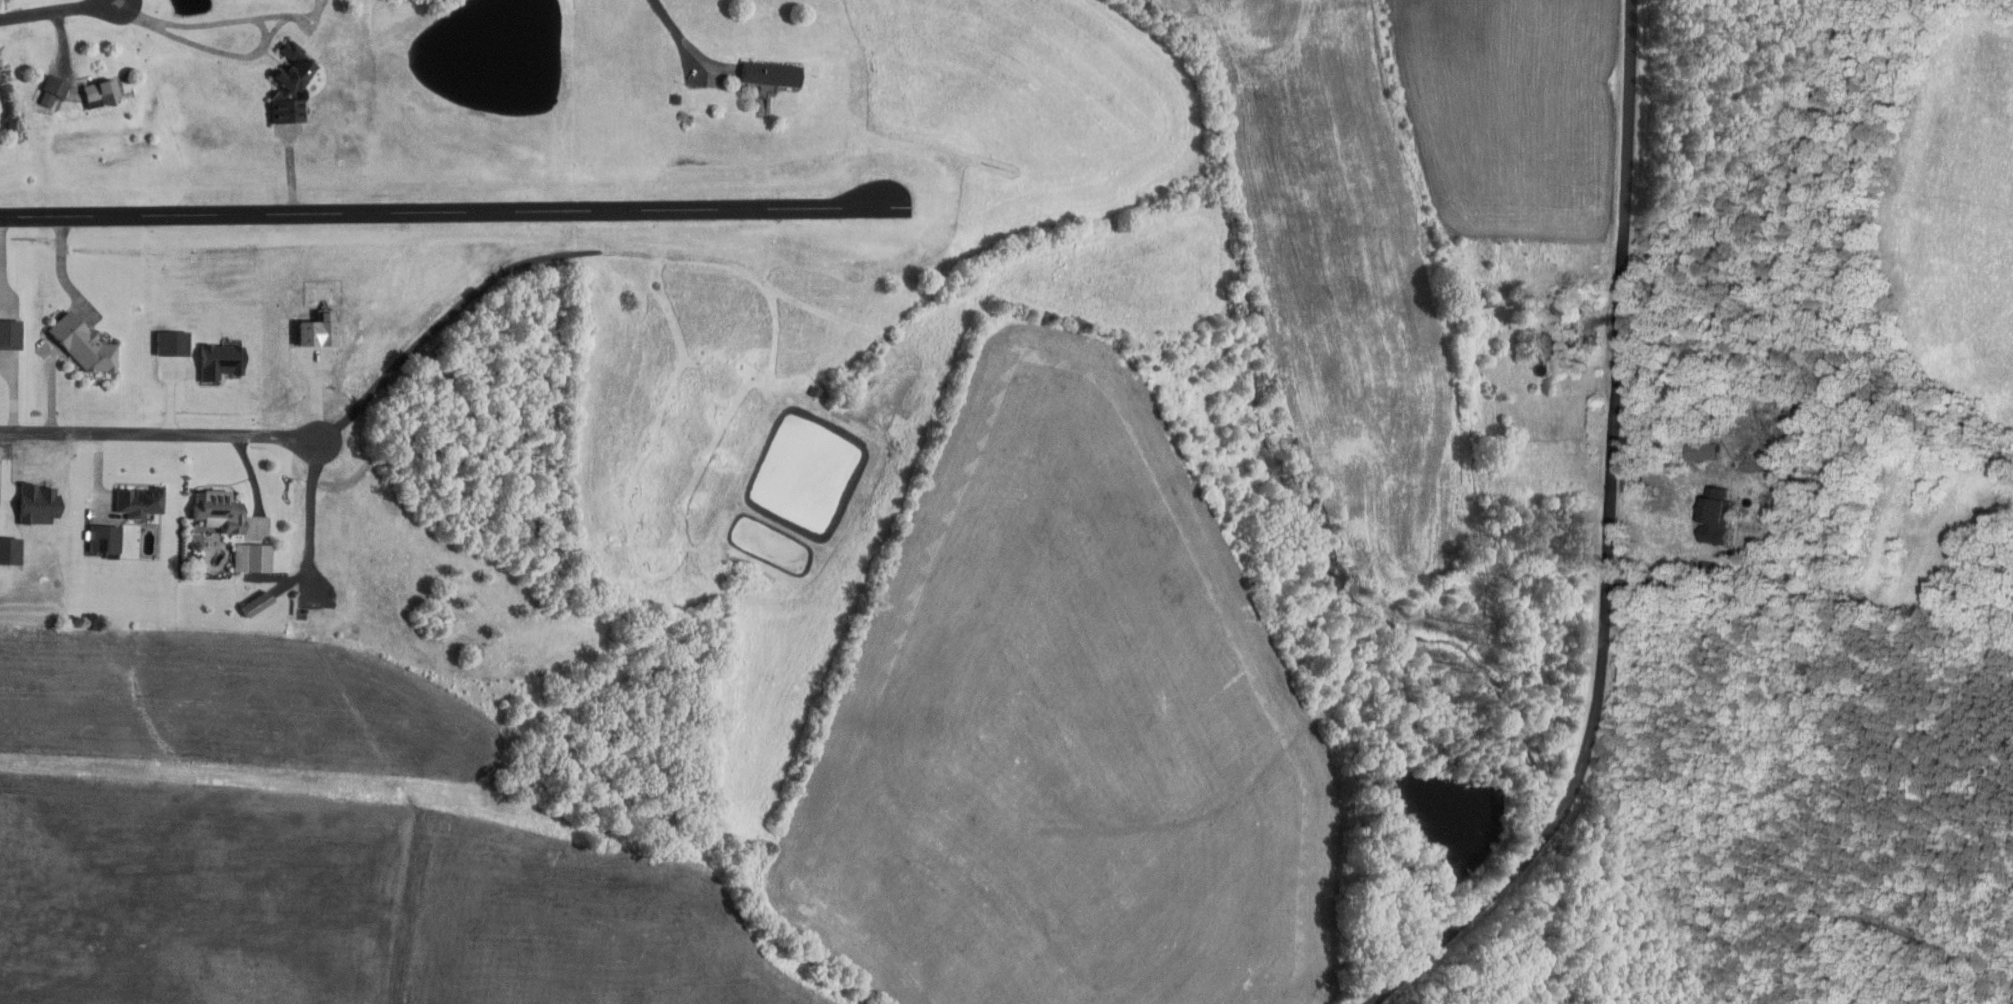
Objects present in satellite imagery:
road: (93, 2)
road: (318, 3)
road: (321, 3)
road: (46, 10)
road: (115, 12)
road: (287, 15)
road: (689, 44)
road: (261, 49)
building: (772, 74)
building: (292, 85)
building: (53, 89)
building: (101, 93)
airport taxiway: (289, 173)
airport runway: (453, 211)
airport taxiway: (60, 265)
building: (321, 330)
building: (10, 334)
building: (173, 342)
building: (84, 343)
building: (1558, 350)
building: (222, 361)
road: (51, 382)
road: (157, 433)
building: (140, 501)
building: (220, 510)
building: (1719, 513)
road: (309, 534)
building: (105, 538)
road: (1616, 547)
building: (253, 557)
road: (1674, 582)
building: (259, 603)

